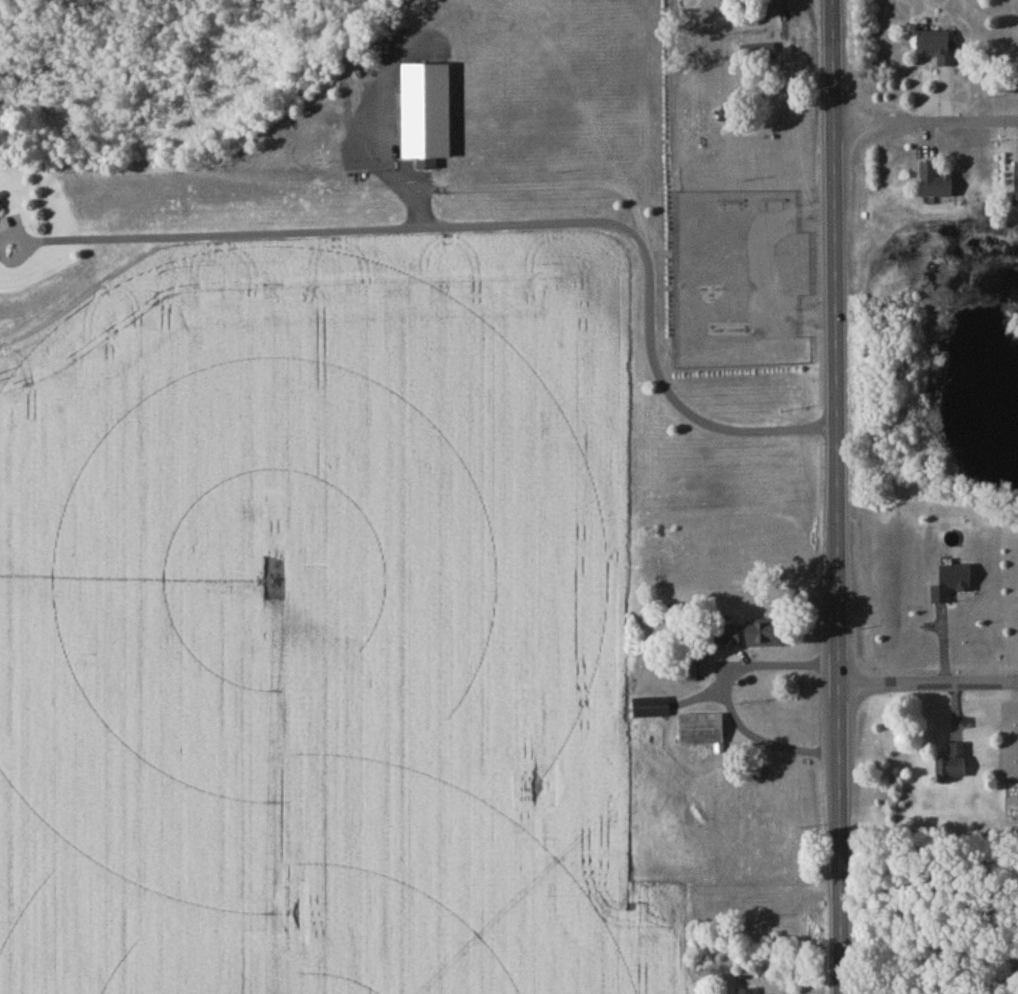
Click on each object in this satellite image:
building: (939, 48)
building: (758, 54)
road: (926, 126)
building: (936, 184)
building: (1017, 187)
road: (509, 227)
road: (837, 497)
building: (952, 586)
building: (760, 636)
building: (689, 675)
road: (729, 688)
road: (929, 689)
building: (652, 711)
building: (702, 733)
building: (954, 766)
road: (999, 976)
building: (747, 992)

